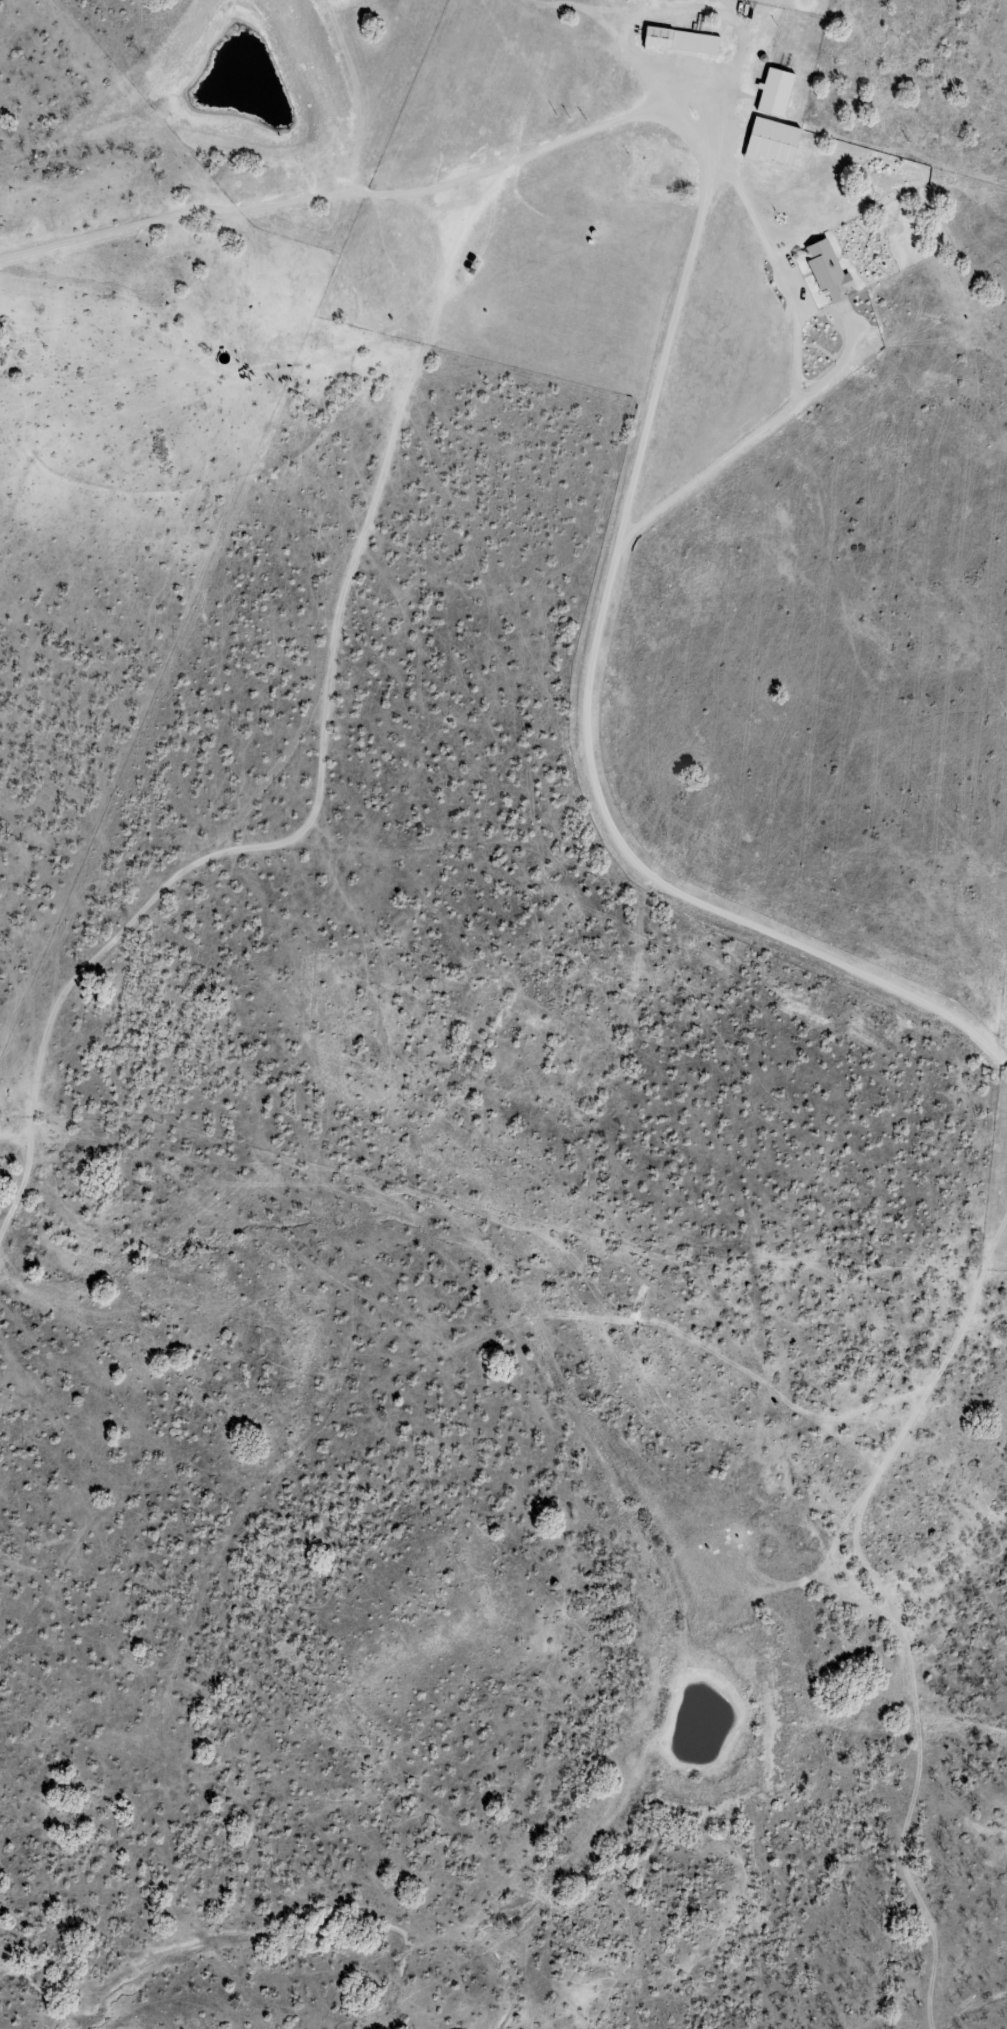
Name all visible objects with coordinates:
building: (779, 91)
building: (776, 139)
building: (670, 177)
building: (831, 270)
road: (588, 656)

